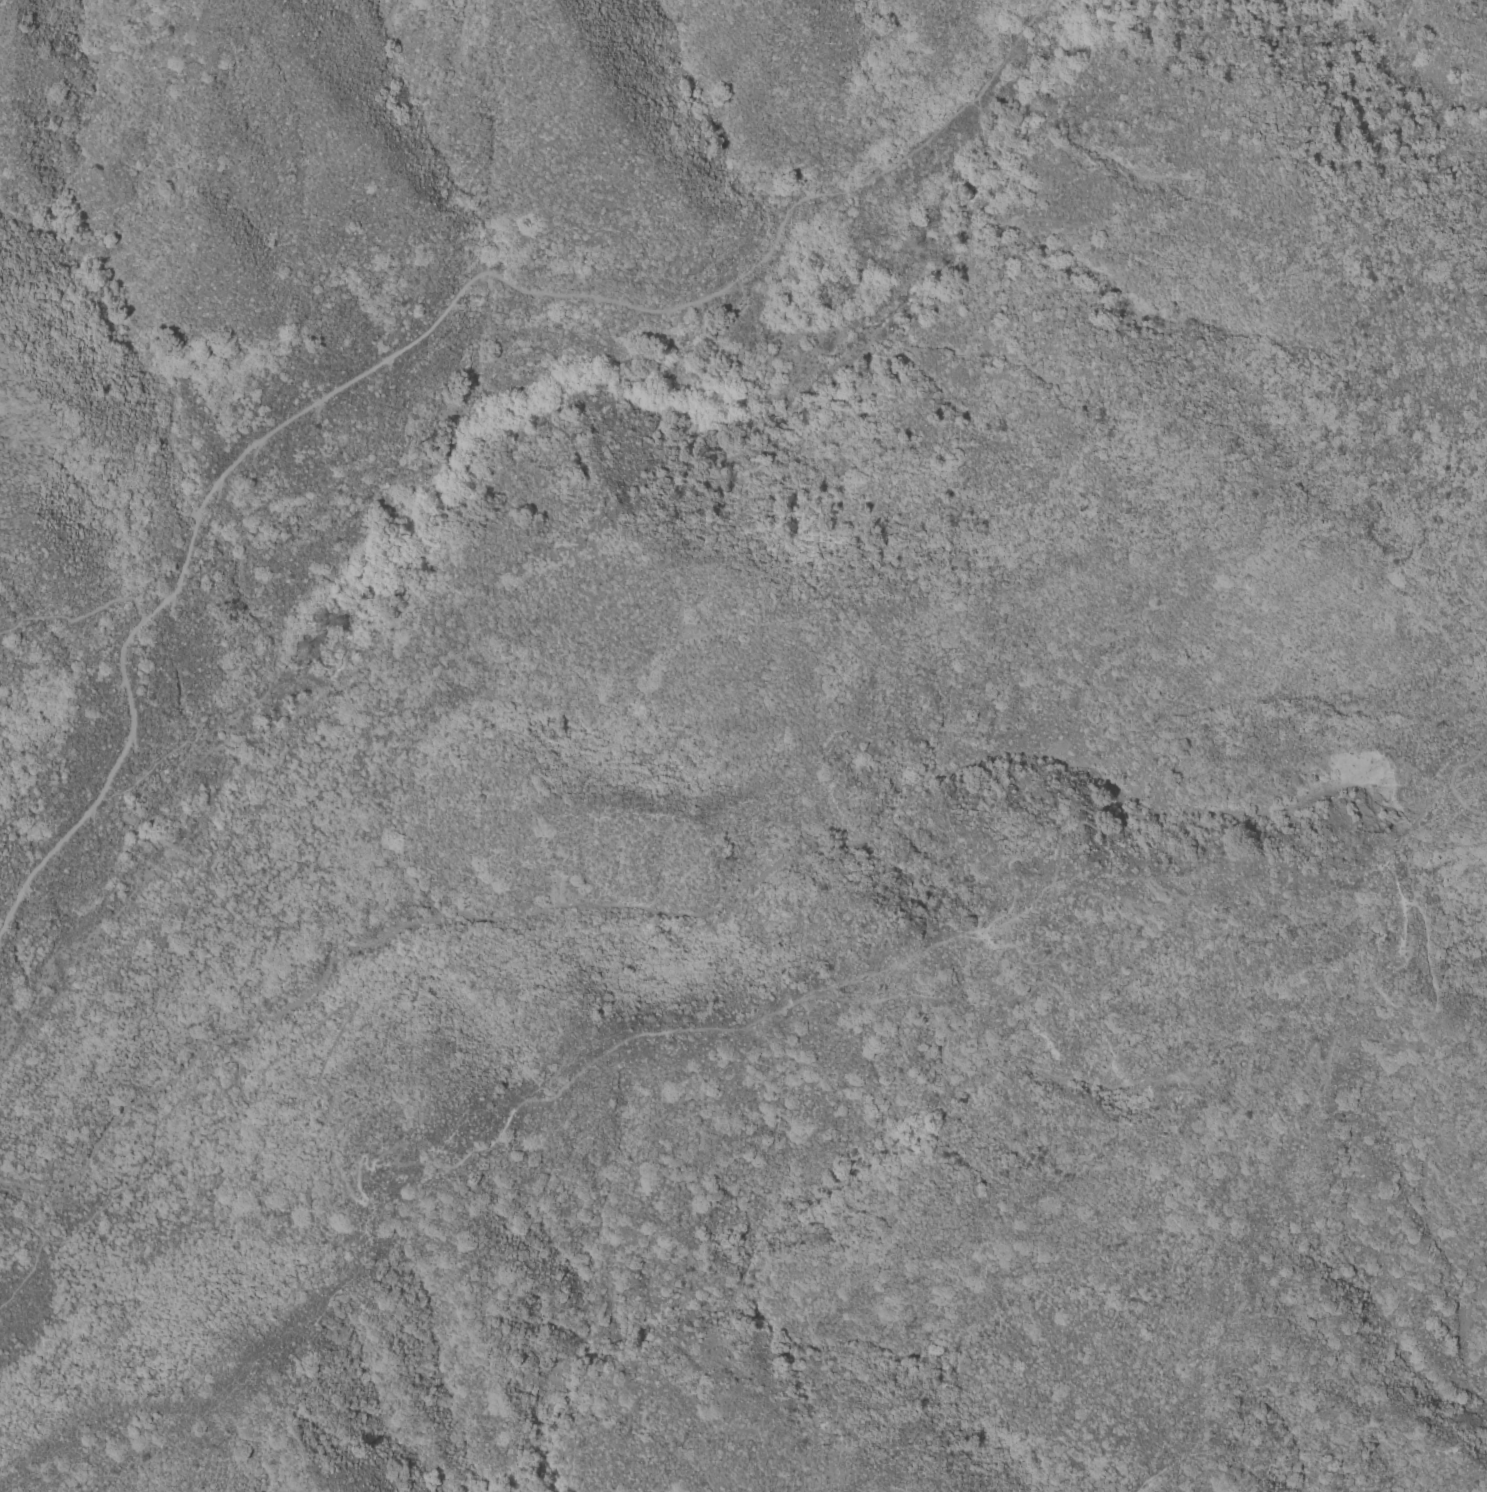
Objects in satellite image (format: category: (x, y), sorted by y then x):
road: (418, 325)
road: (1456, 549)
road: (77, 616)
road: (1455, 778)
road: (1068, 990)
road: (25, 1273)

